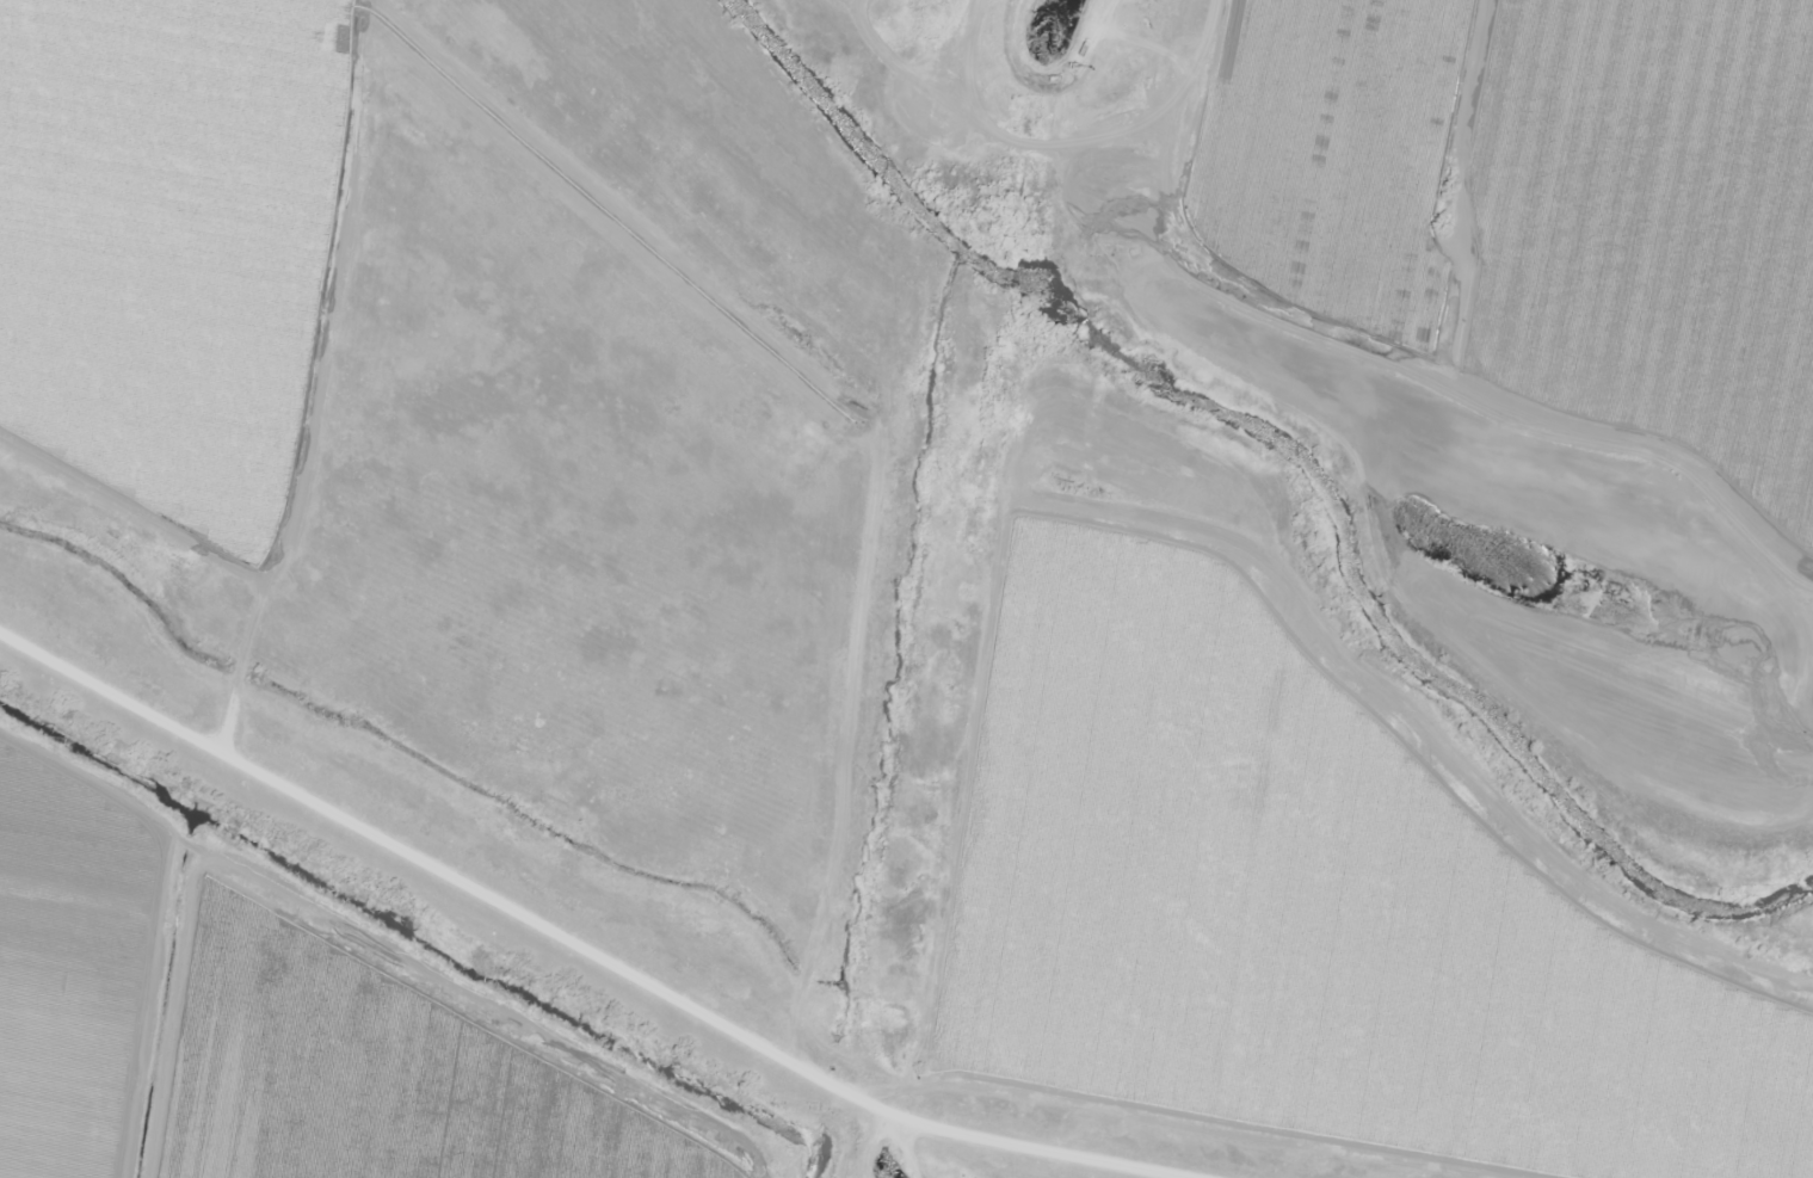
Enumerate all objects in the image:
road: (1122, 39)
road: (1029, 55)
road: (292, 366)
river: (898, 701)
road: (471, 861)
road: (1050, 1139)

